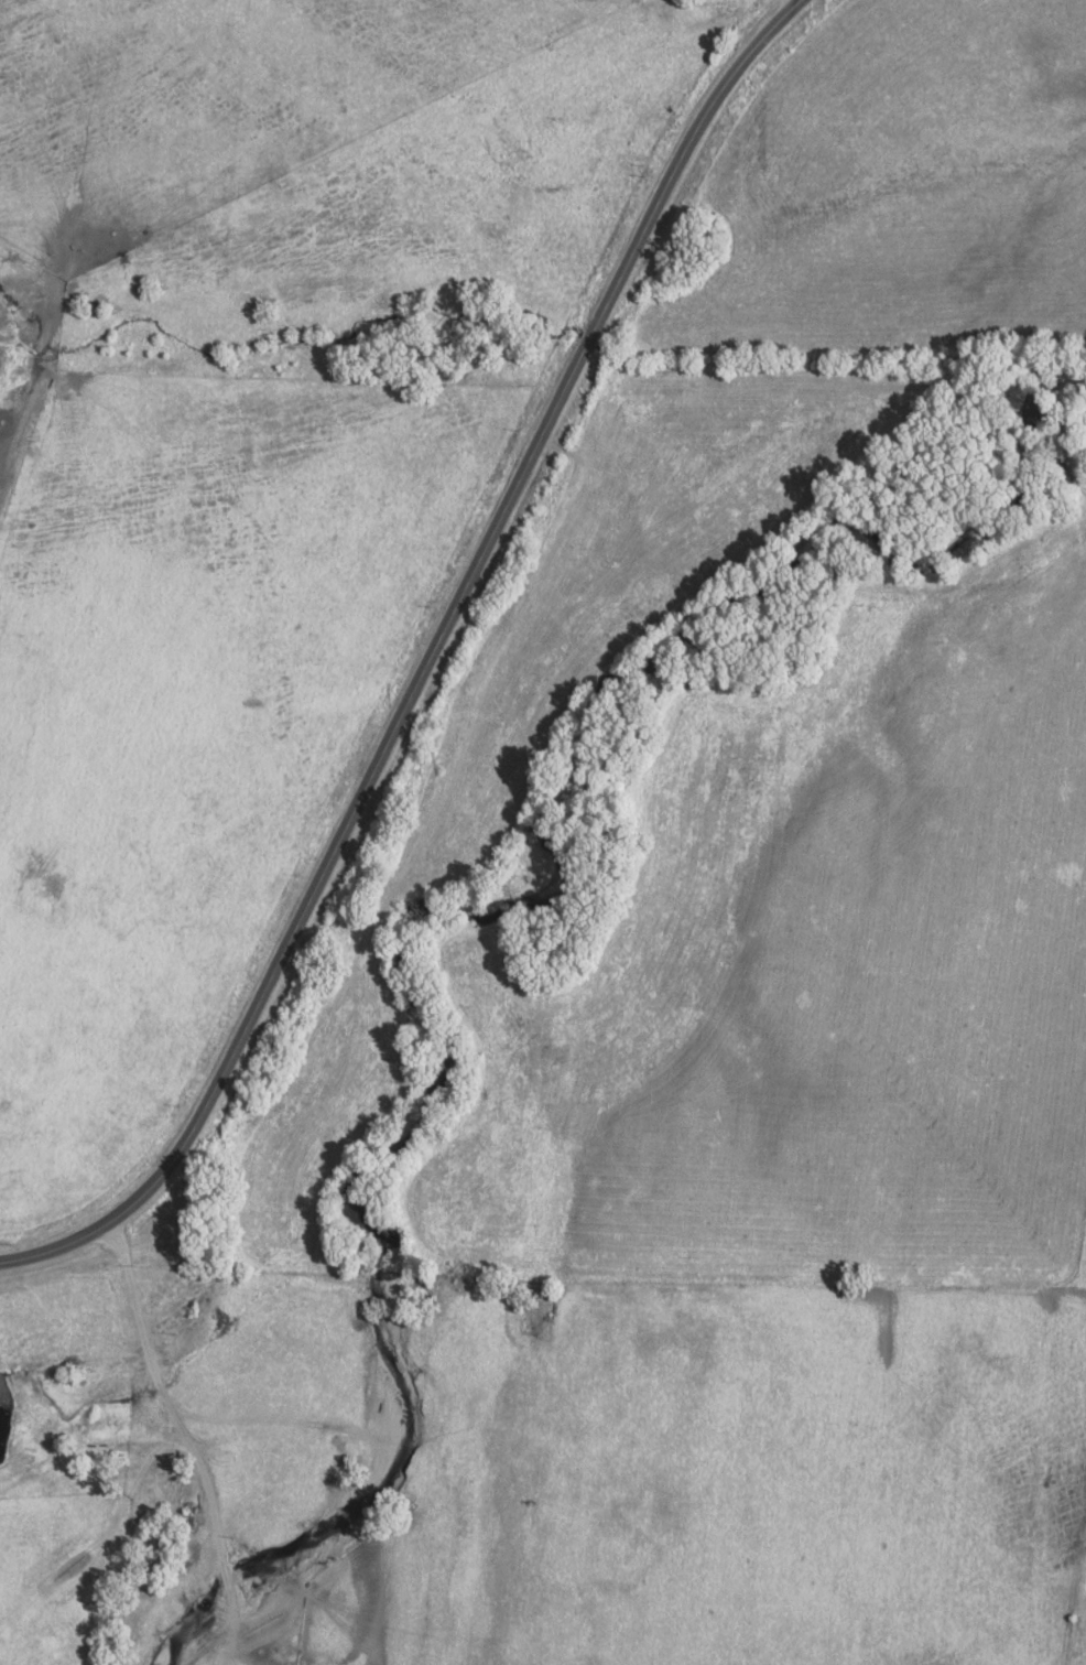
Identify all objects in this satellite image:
road: (431, 667)
road: (188, 1440)

